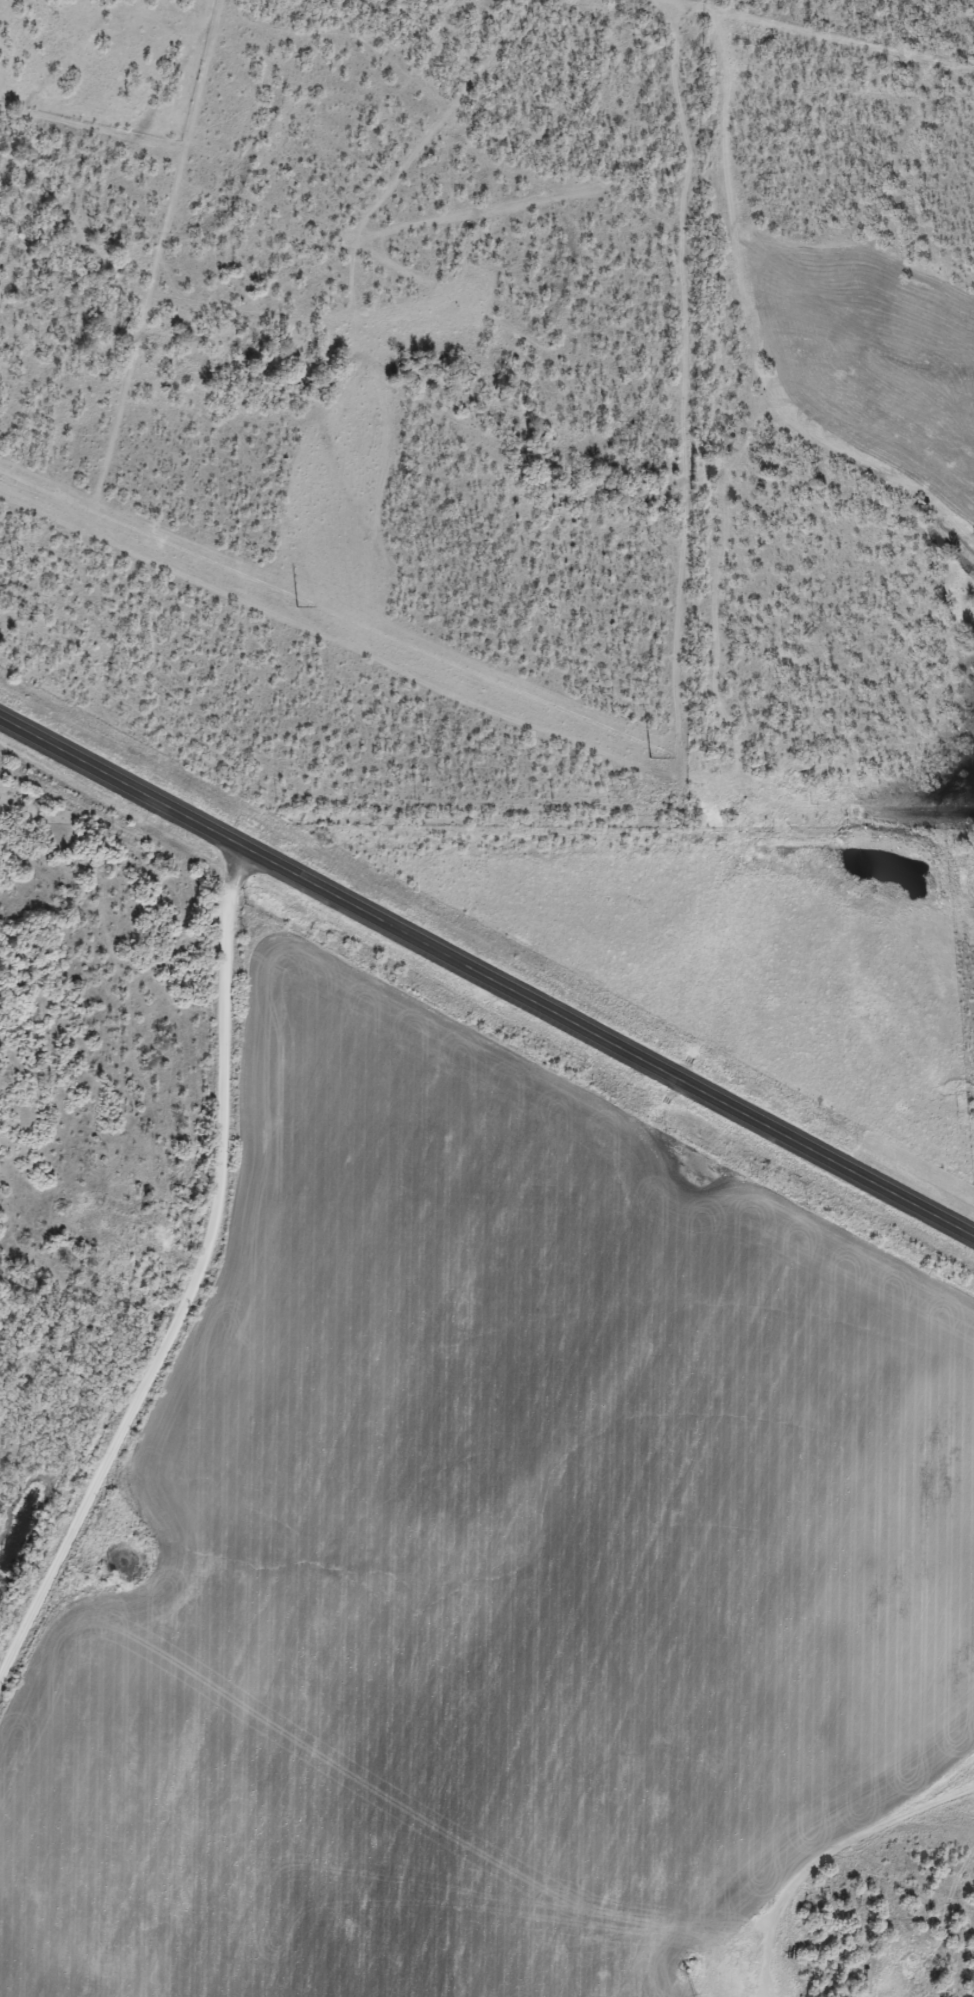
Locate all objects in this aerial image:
road: (486, 976)
road: (191, 1288)

